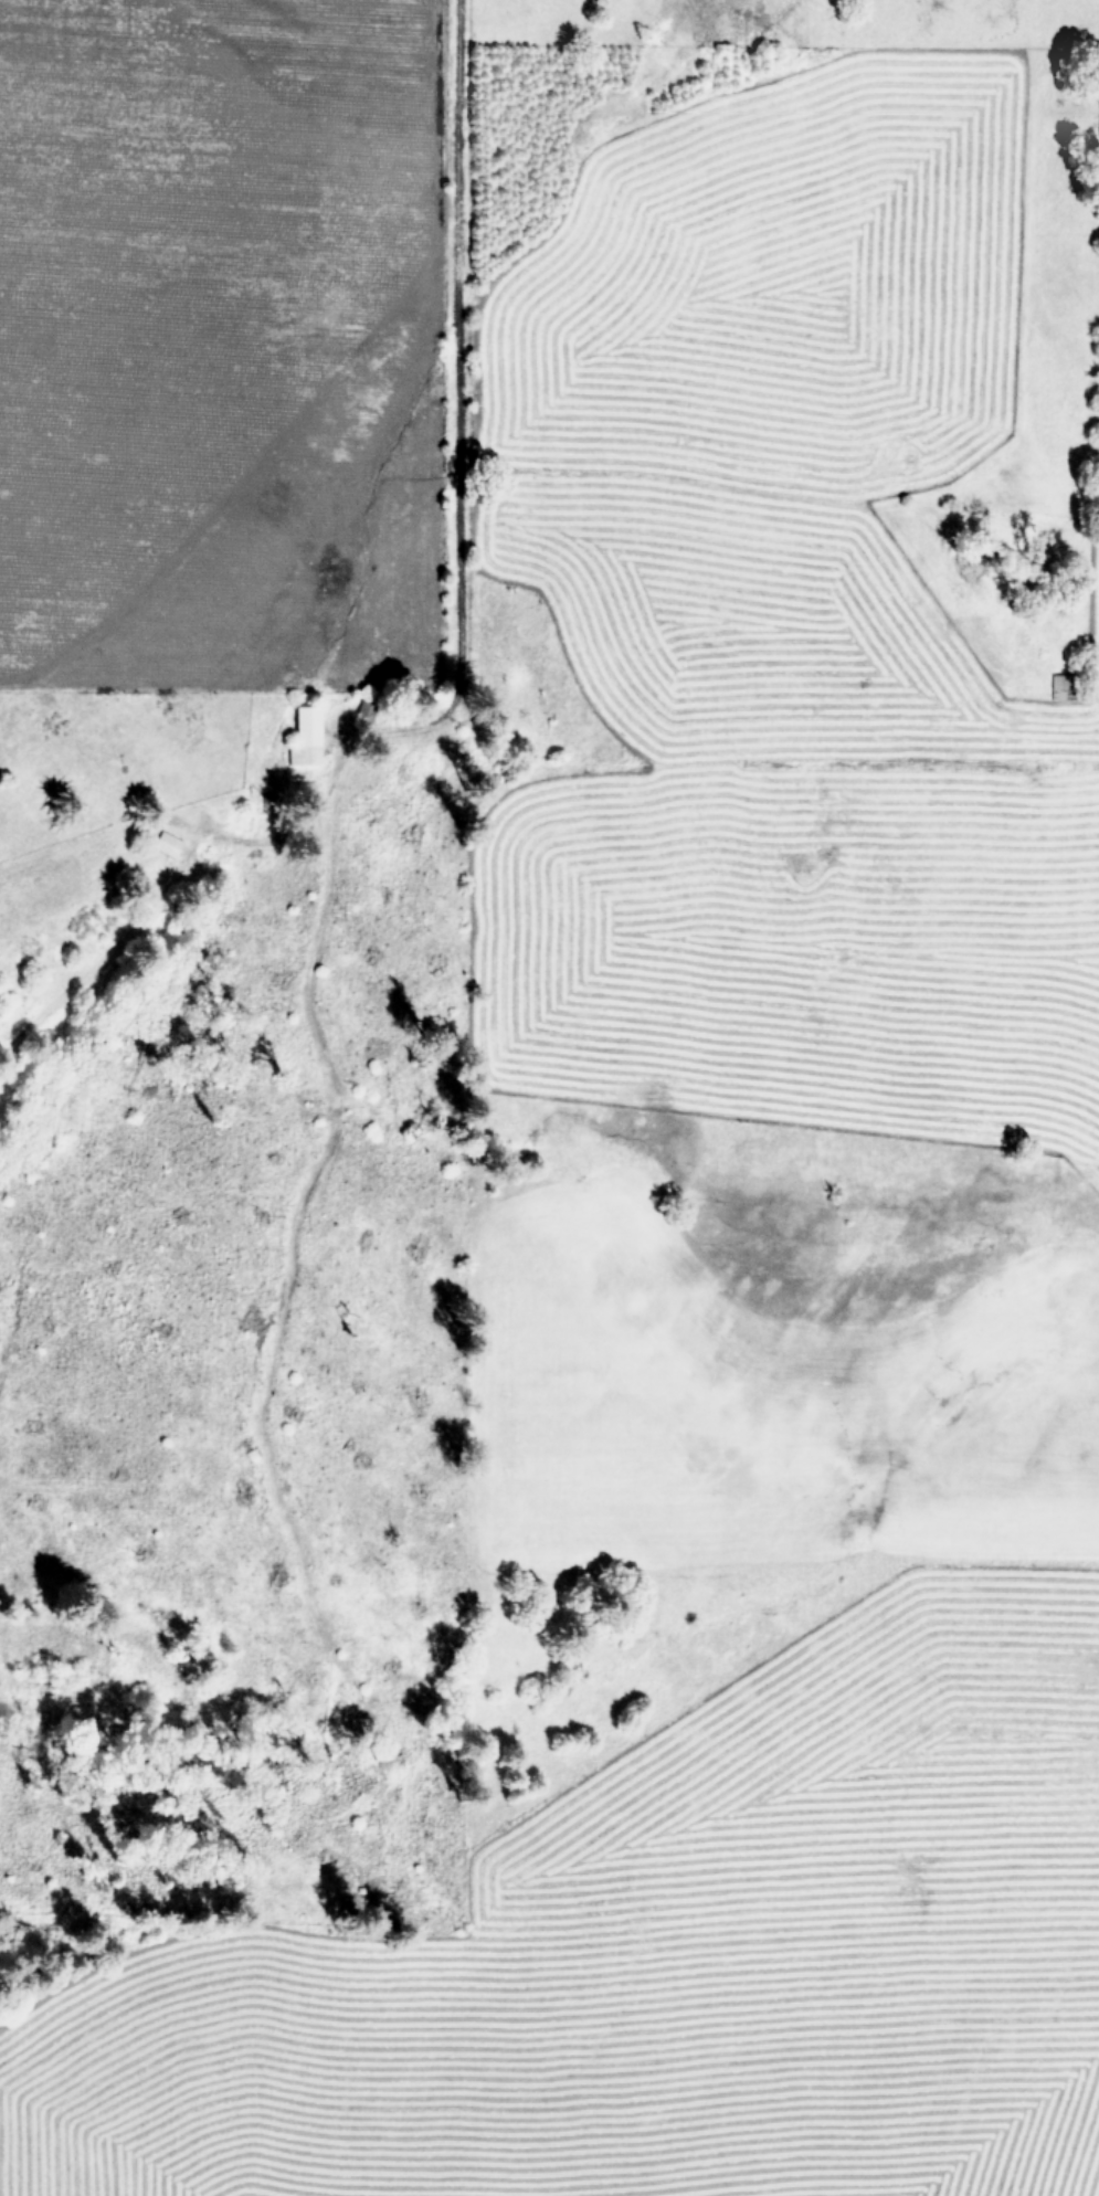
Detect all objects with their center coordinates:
road: (453, 344)
building: (303, 736)
crop: (742, 1163)

